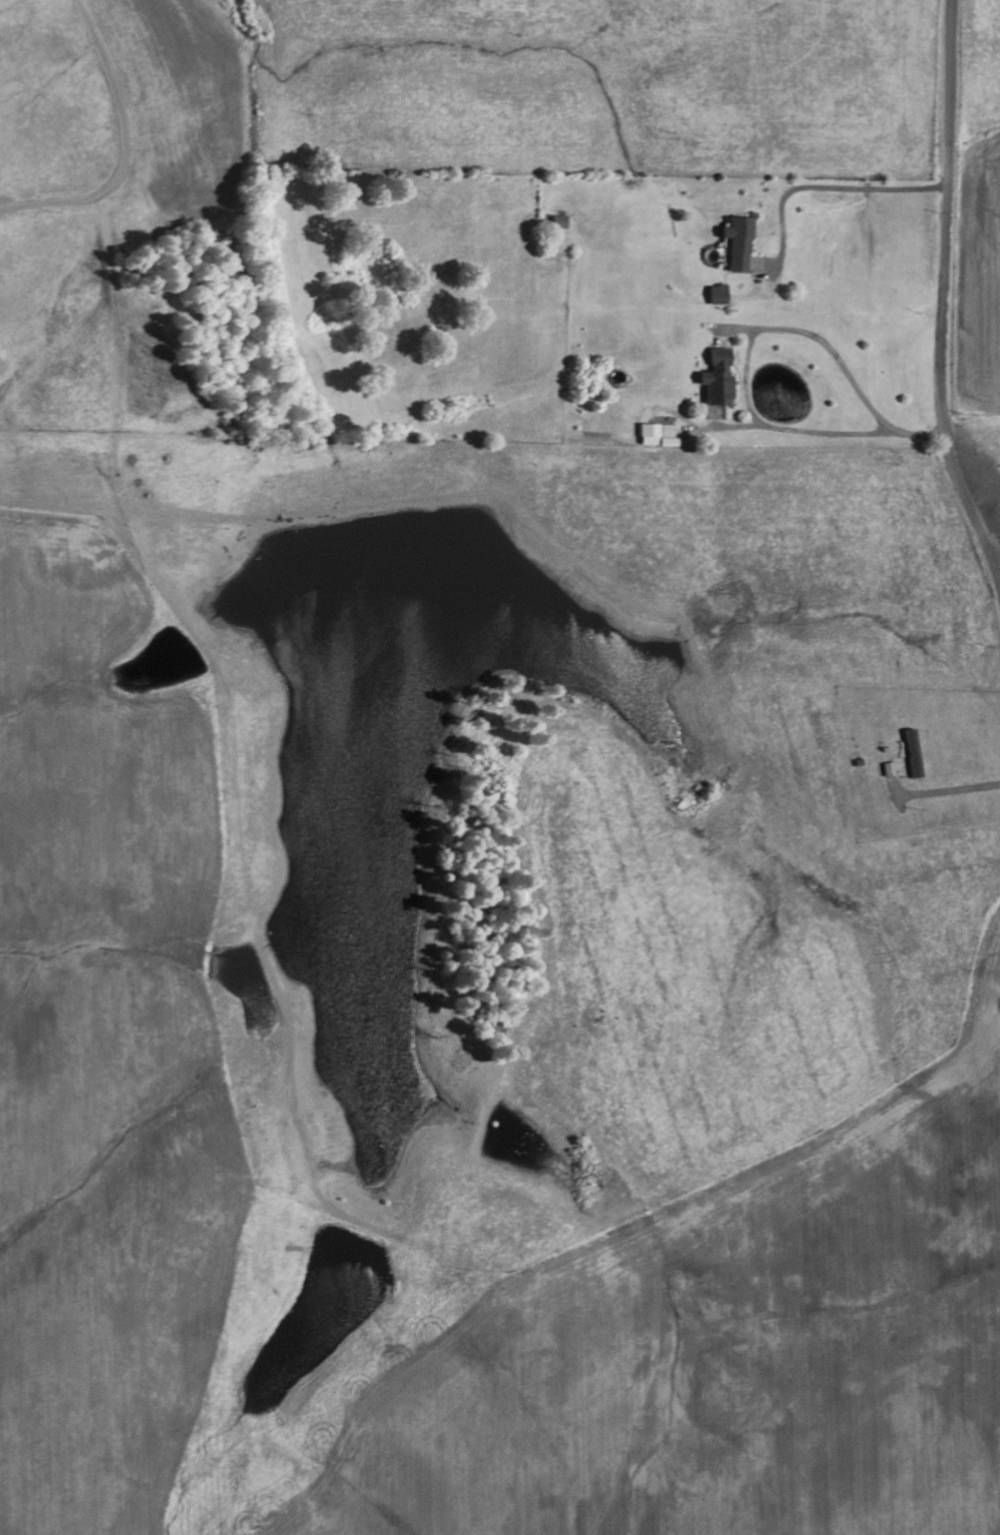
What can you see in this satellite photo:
building: (560, 221)
building: (740, 242)
building: (719, 293)
road: (945, 294)
building: (719, 376)
building: (655, 434)
road: (690, 1290)

